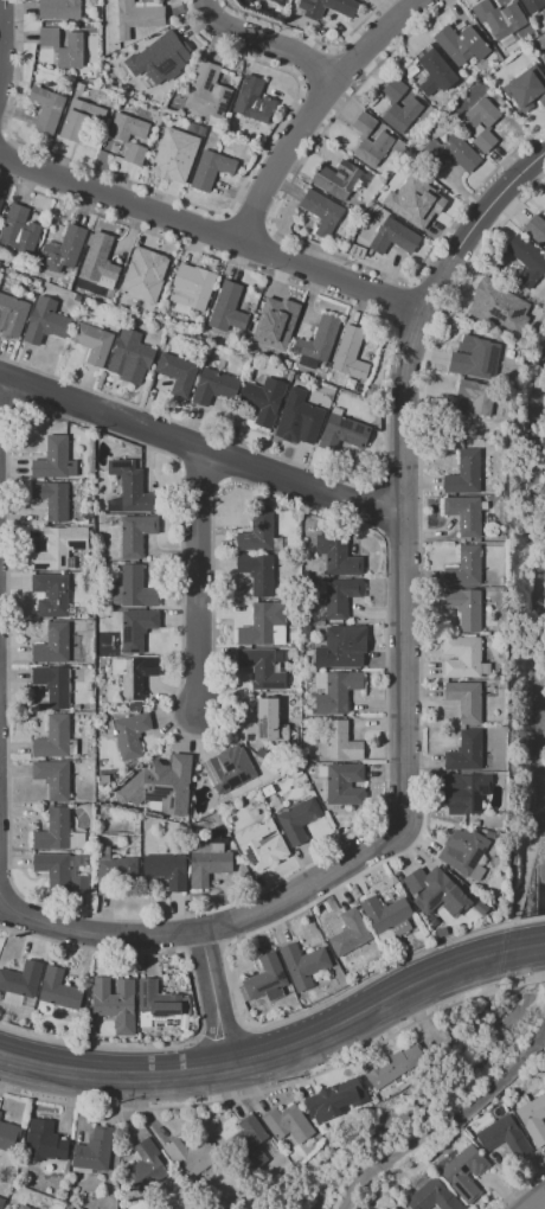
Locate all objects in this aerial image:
building: (277, 2)
building: (534, 6)
building: (327, 7)
building: (59, 9)
building: (136, 17)
building: (499, 19)
road: (271, 40)
road: (0, 41)
building: (461, 44)
building: (72, 47)
building: (543, 57)
building: (159, 58)
building: (434, 71)
building: (526, 89)
building: (207, 91)
building: (254, 101)
building: (412, 105)
building: (46, 109)
road: (320, 110)
building: (79, 120)
building: (467, 126)
building: (123, 141)
building: (383, 141)
building: (451, 152)
building: (174, 154)
building: (211, 169)
building: (336, 179)
building: (1, 203)
building: (409, 203)
building: (543, 204)
building: (320, 212)
building: (536, 230)
building: (19, 232)
road: (210, 238)
building: (393, 238)
building: (63, 250)
building: (357, 251)
building: (98, 260)
building: (526, 260)
building: (145, 275)
building: (192, 287)
building: (77, 299)
building: (499, 307)
building: (227, 309)
building: (12, 315)
building: (45, 321)
building: (267, 324)
building: (92, 343)
building: (318, 343)
building: (129, 353)
building: (350, 353)
building: (475, 358)
building: (177, 373)
building: (213, 386)
building: (476, 396)
building: (263, 399)
building: (303, 418)
building: (342, 433)
road: (200, 447)
building: (53, 460)
building: (464, 473)
building: (129, 490)
building: (52, 499)
building: (464, 514)
building: (257, 531)
building: (135, 535)
building: (59, 548)
building: (338, 555)
building: (464, 568)
building: (257, 572)
road: (402, 577)
road: (198, 581)
building: (132, 588)
building: (51, 595)
building: (340, 596)
building: (464, 608)
building: (264, 625)
building: (134, 628)
building: (52, 645)
building: (341, 647)
building: (463, 658)
building: (100, 660)
building: (261, 670)
building: (133, 674)
building: (52, 685)
building: (334, 691)
building: (466, 701)
building: (129, 706)
building: (265, 723)
building: (129, 735)
building: (53, 738)
building: (339, 743)
building: (464, 753)
building: (229, 769)
building: (52, 779)
building: (161, 785)
building: (344, 785)
building: (468, 791)
building: (297, 820)
building: (57, 832)
building: (261, 844)
building: (466, 856)
building: (206, 864)
building: (113, 870)
building: (166, 870)
building: (53, 871)
building: (78, 884)
building: (440, 891)
building: (386, 915)
road: (530, 920)
road: (95, 932)
building: (348, 934)
road: (527, 945)
building: (302, 965)
road: (377, 974)
building: (21, 979)
building: (264, 980)
road: (525, 983)
building: (58, 991)
road: (213, 999)
building: (115, 1003)
building: (161, 1007)
road: (368, 1007)
building: (7, 1011)
road: (219, 1038)
road: (98, 1047)
building: (541, 1056)
building: (395, 1068)
road: (111, 1073)
road: (262, 1092)
building: (335, 1100)
building: (0, 1113)
building: (532, 1117)
building: (288, 1124)
road: (448, 1127)
building: (8, 1137)
building: (504, 1137)
building: (44, 1141)
building: (252, 1144)
building: (94, 1152)
building: (192, 1154)
building: (146, 1168)
building: (463, 1171)
road: (519, 1188)
building: (431, 1195)
road: (536, 1201)
building: (1, 1203)
building: (24, 1207)
building: (395, 1208)

